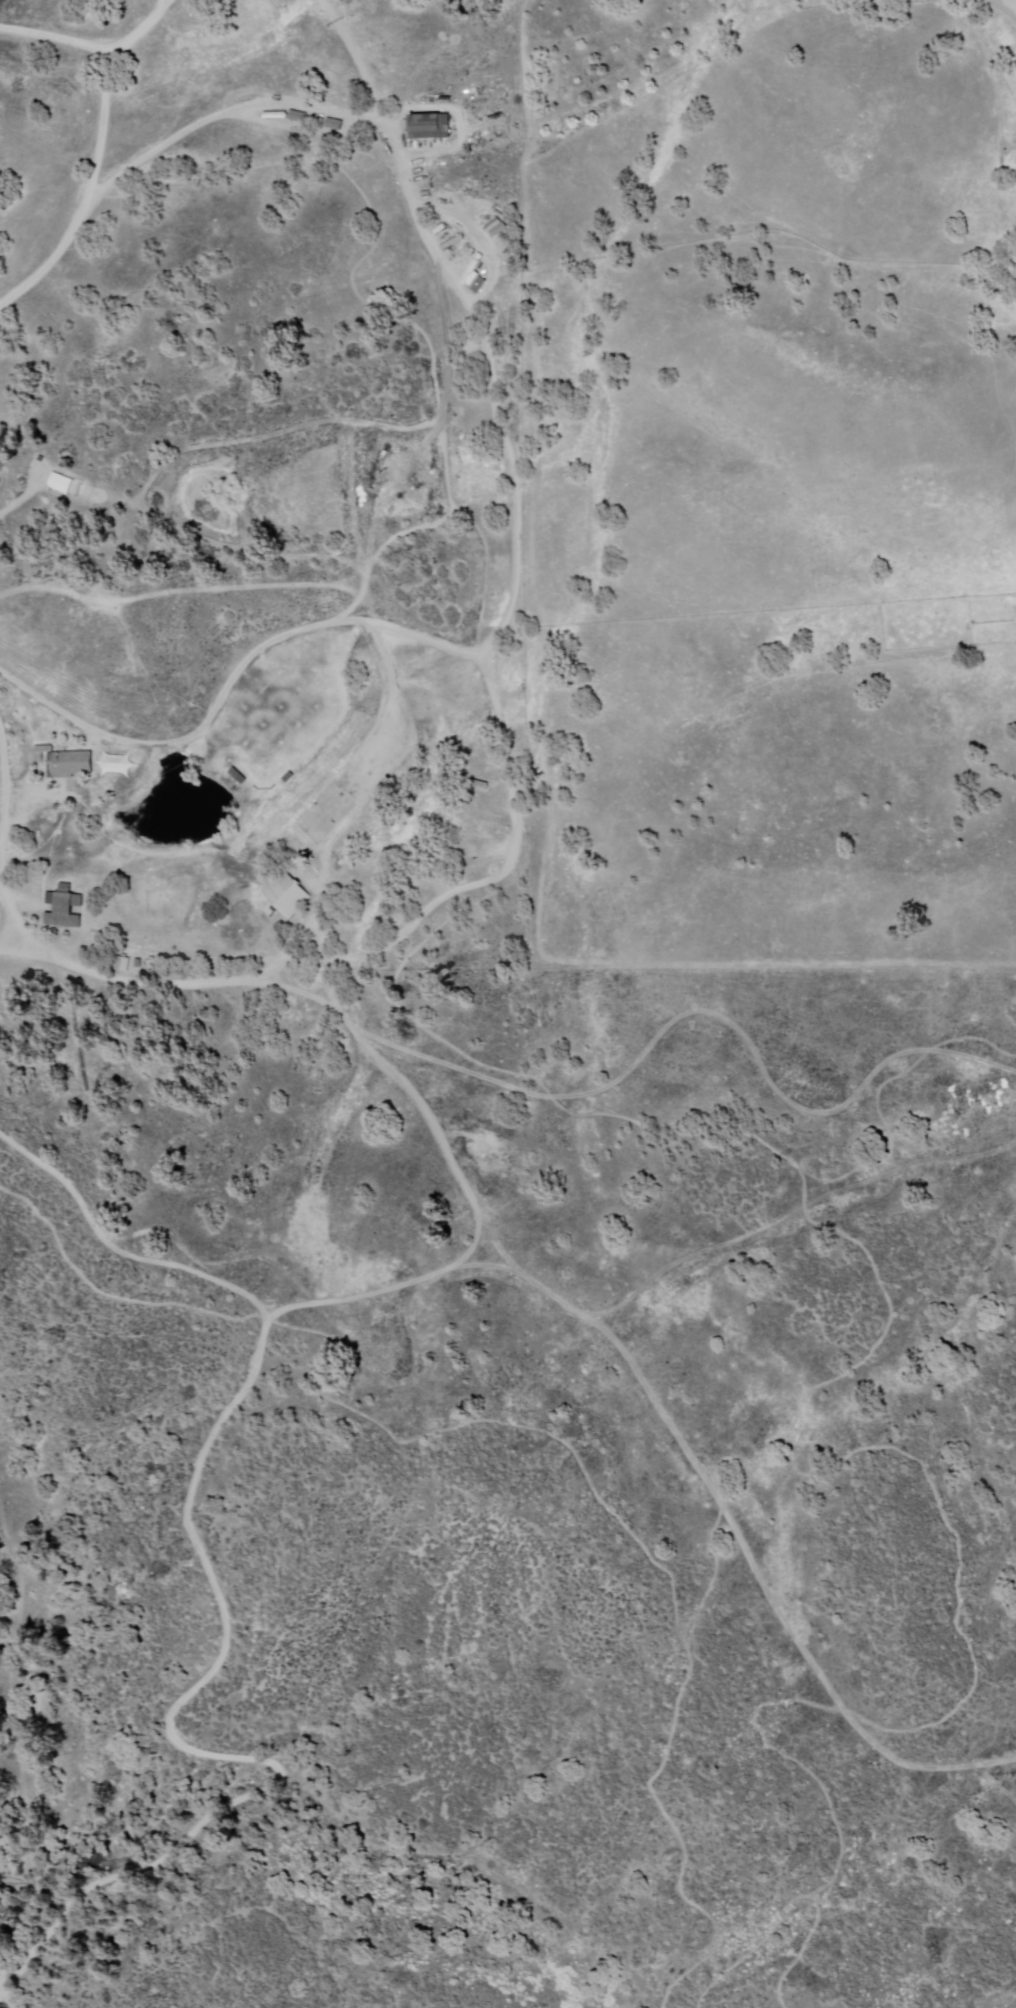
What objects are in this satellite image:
road: (1007, 4)
road: (93, 47)
building: (429, 126)
road: (82, 192)
building: (380, 754)
building: (68, 764)
building: (234, 776)
building: (325, 814)
building: (477, 818)
road: (3, 836)
building: (138, 854)
building: (286, 895)
building: (123, 898)
building: (64, 908)
building: (989, 1091)
building: (962, 1107)

